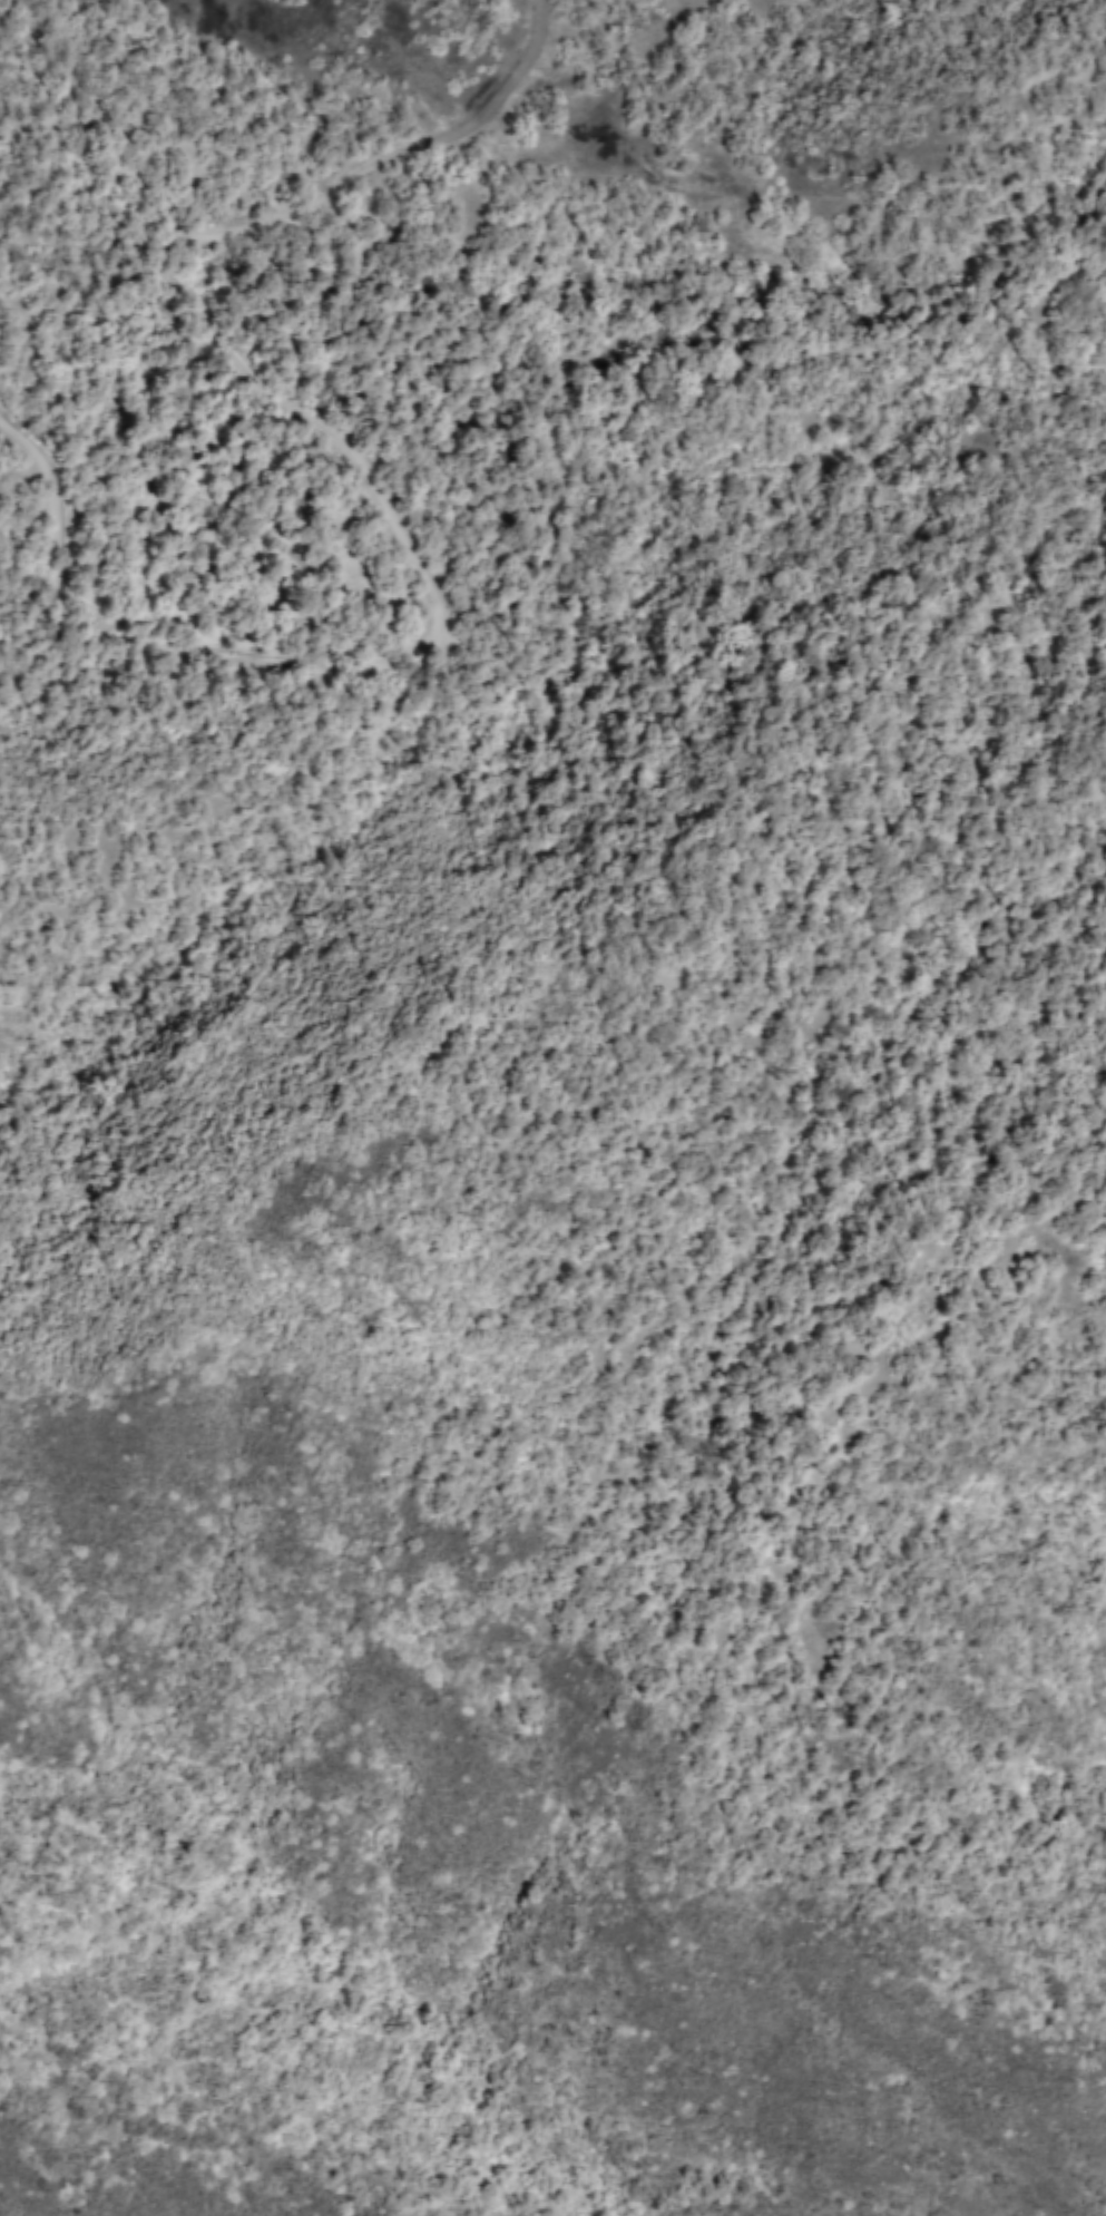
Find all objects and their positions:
road: (344, 446)
water tower: (368, 689)

